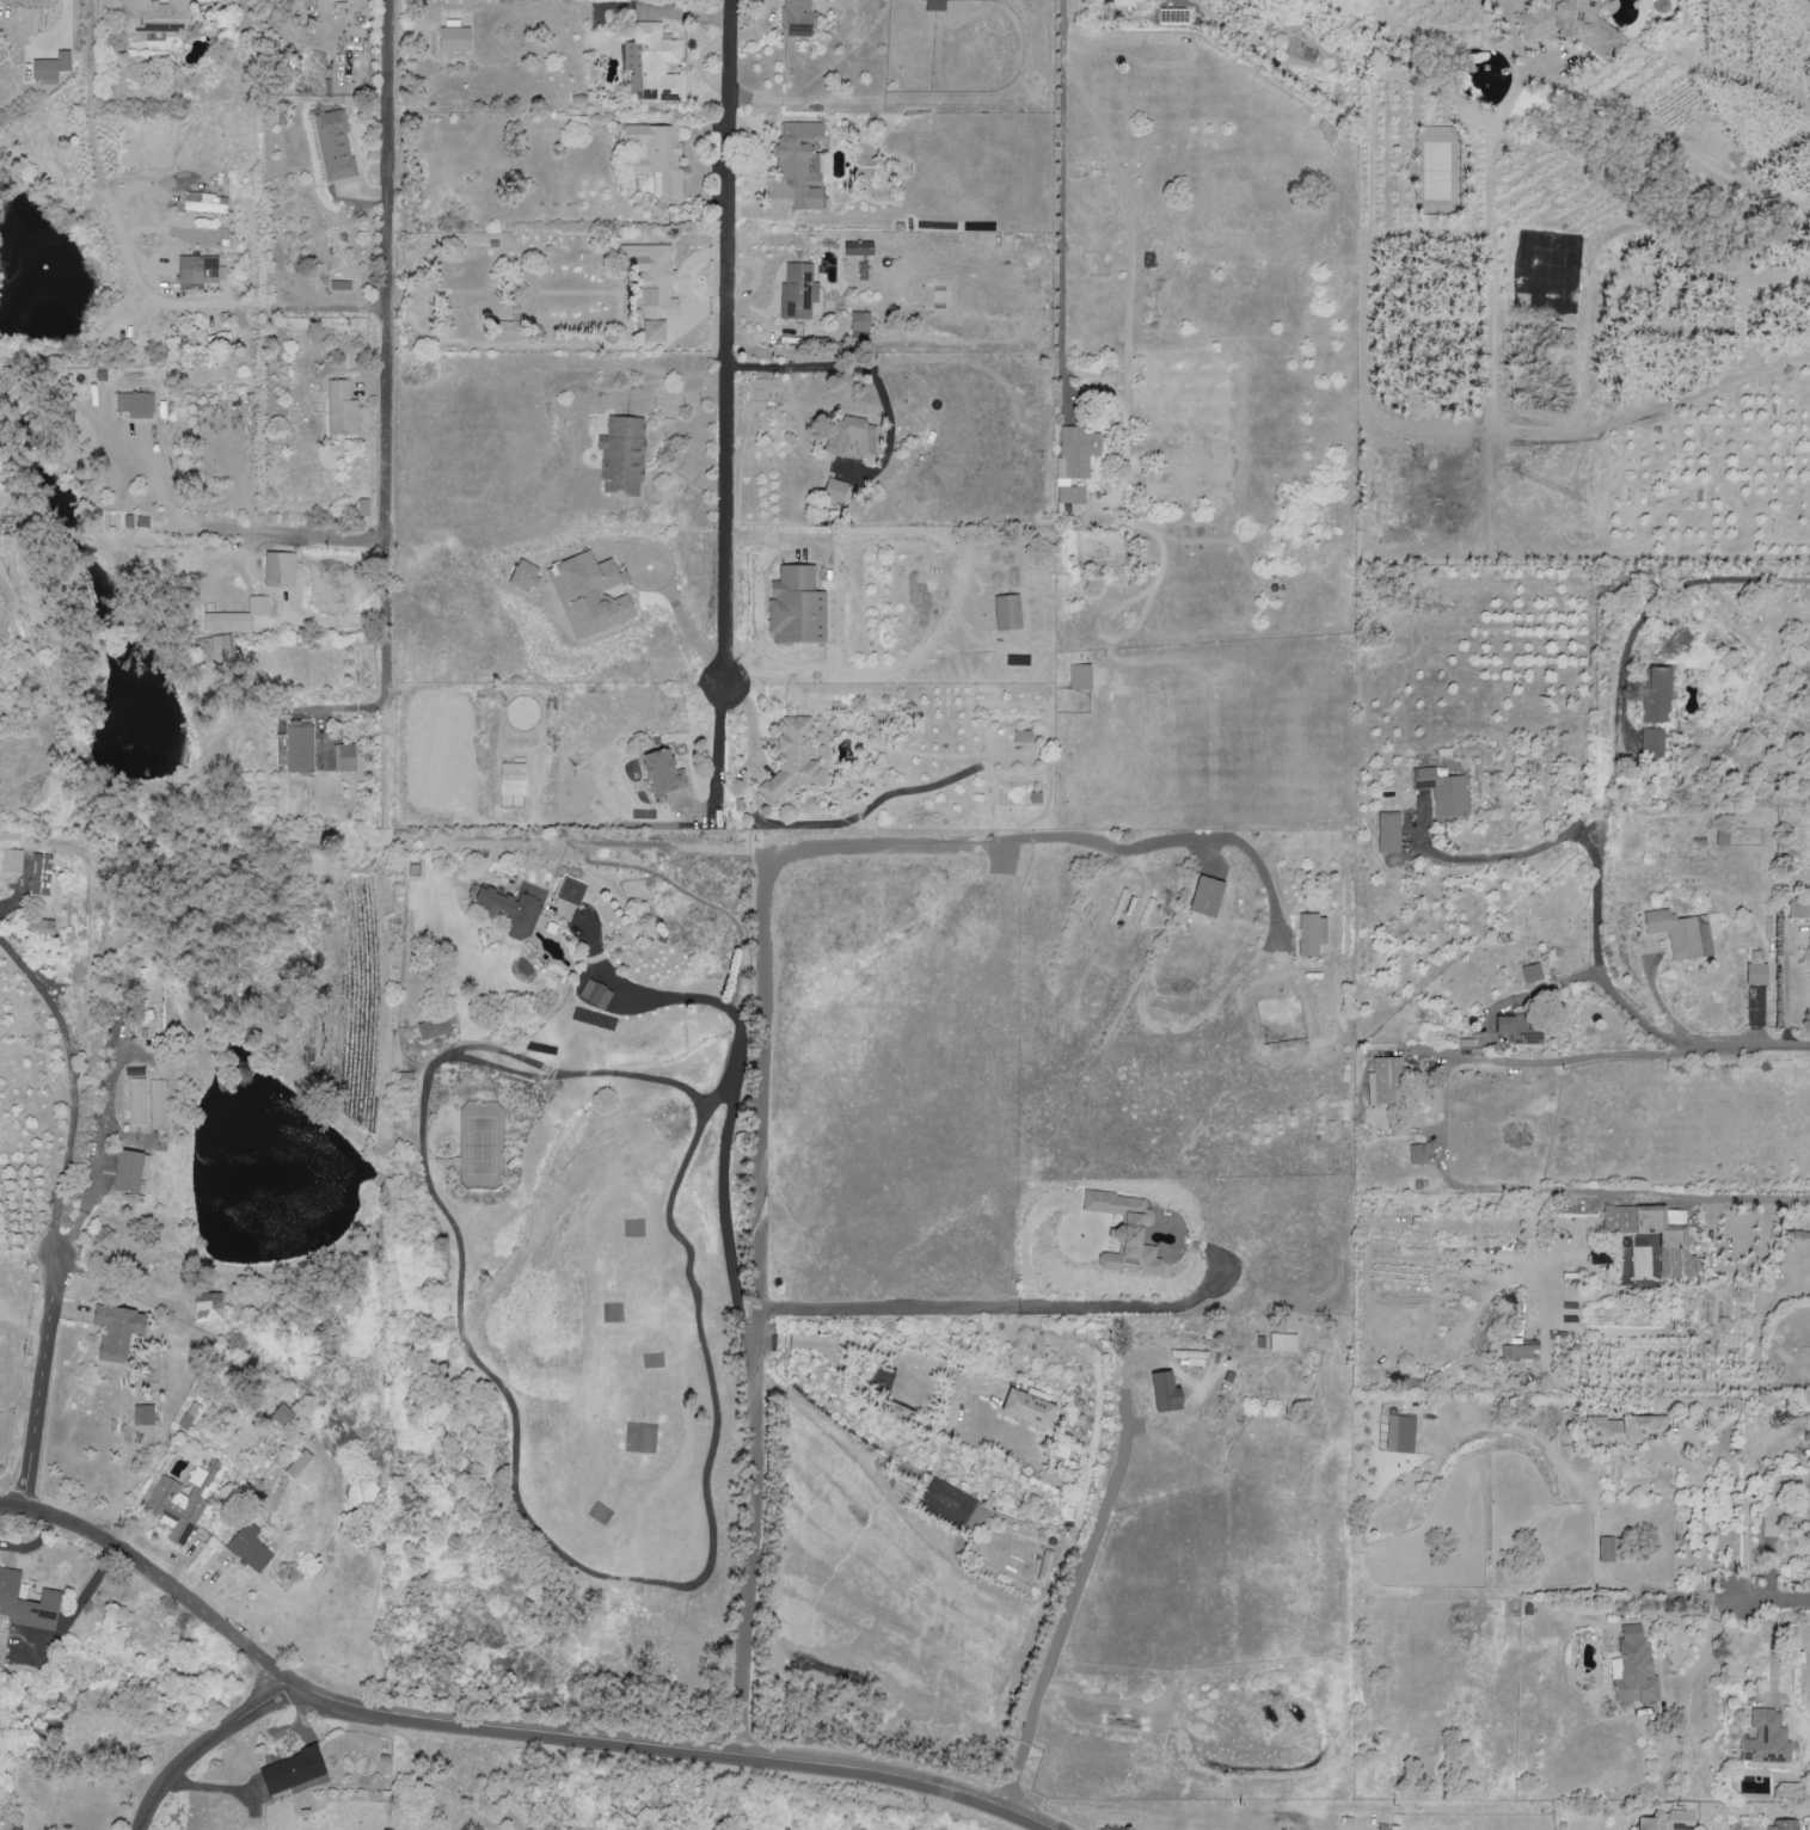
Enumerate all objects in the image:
road: (63, 16)
building: (155, 16)
building: (798, 18)
building: (1570, 25)
building: (455, 41)
building: (654, 65)
building: (51, 67)
building: (335, 146)
building: (658, 158)
road: (1060, 205)
road: (133, 268)
building: (197, 269)
building: (508, 331)
road: (728, 348)
road: (391, 358)
road: (857, 368)
road: (671, 403)
building: (136, 405)
building: (342, 410)
road: (1618, 420)
road: (674, 460)
building: (1074, 461)
building: (362, 509)
road: (237, 532)
building: (280, 571)
building: (524, 577)
road: (955, 591)
building: (591, 595)
building: (258, 607)
building: (797, 607)
road: (682, 621)
building: (211, 650)
building: (225, 667)
building: (1655, 694)
road: (1600, 733)
building: (1651, 742)
building: (300, 747)
building: (796, 756)
building: (346, 757)
building: (676, 775)
building: (513, 779)
building: (1441, 790)
road: (1590, 827)
building: (1387, 833)
road: (1188, 840)
road: (1508, 855)
building: (12, 861)
building: (42, 879)
building: (571, 891)
building: (1208, 897)
building: (1799, 909)
road: (87, 914)
building: (39, 929)
building: (1681, 933)
building: (1311, 934)
building: (1532, 972)
building: (1756, 974)
road: (1556, 983)
road: (1785, 983)
road: (1657, 1001)
building: (434, 1027)
building: (1517, 1027)
road: (1745, 1045)
building: (1383, 1081)
road: (72, 1083)
building: (137, 1101)
building: (158, 1105)
road: (731, 1105)
road: (97, 1138)
building: (1417, 1154)
building: (130, 1172)
road: (765, 1175)
road: (1447, 1181)
road: (1029, 1228)
building: (1656, 1232)
building: (1154, 1266)
road: (1730, 1271)
road: (1002, 1306)
building: (209, 1307)
building: (118, 1332)
building: (1283, 1341)
building: (1518, 1352)
road: (43, 1356)
road: (953, 1381)
building: (1168, 1393)
building: (1031, 1408)
building: (143, 1414)
building: (283, 1416)
building: (1620, 1430)
building: (1400, 1433)
building: (300, 1464)
building: (1809, 1487)
building: (182, 1502)
road: (1699, 1517)
road: (1769, 1528)
building: (250, 1548)
building: (1606, 1548)
road: (162, 1579)
road: (1080, 1584)
road: (1772, 1599)
building: (26, 1603)
building: (1633, 1668)
building: (1766, 1740)
road: (214, 1749)
road: (677, 1749)
building: (293, 1771)
building: (1668, 1820)
building: (1781, 1825)

